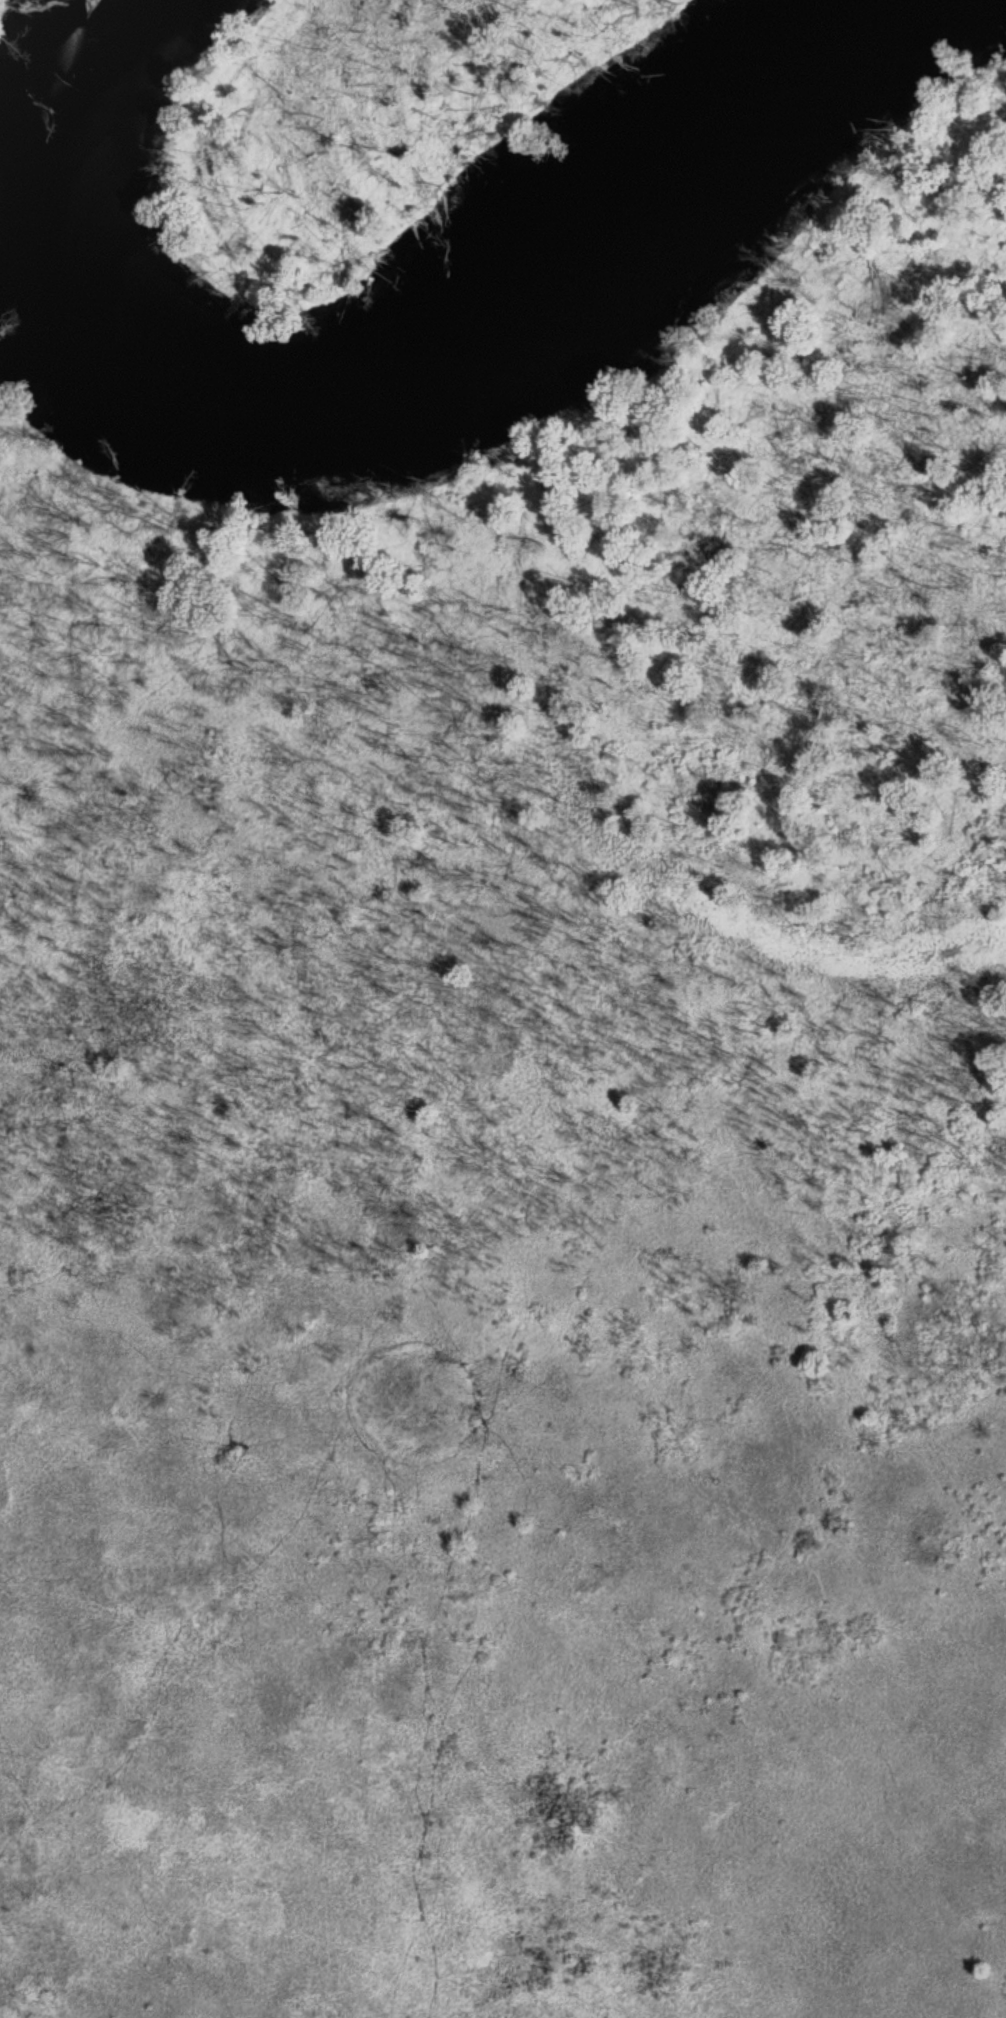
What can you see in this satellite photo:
river: (388, 386)

